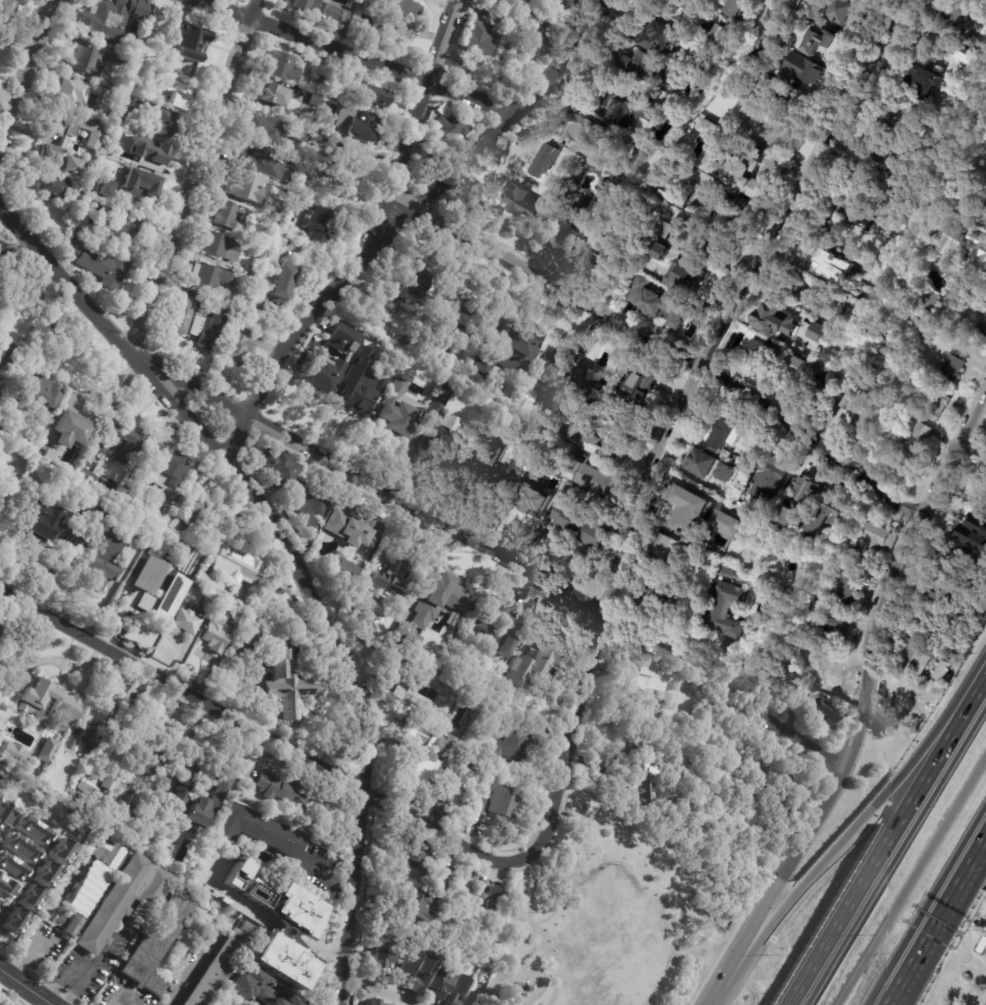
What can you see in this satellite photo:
building: (552, 1)
building: (971, 1)
building: (489, 2)
building: (573, 3)
building: (316, 6)
building: (741, 7)
building: (812, 7)
building: (3, 9)
building: (405, 9)
building: (482, 11)
building: (844, 11)
building: (953, 15)
building: (112, 16)
building: (544, 20)
building: (692, 23)
building: (397, 30)
building: (551, 32)
building: (661, 36)
building: (481, 39)
building: (790, 39)
building: (822, 40)
building: (973, 41)
building: (192, 43)
building: (526, 45)
building: (941, 49)
building: (761, 58)
building: (93, 59)
road: (354, 60)
building: (284, 67)
building: (136, 68)
building: (651, 68)
building: (804, 68)
road: (26, 70)
building: (926, 82)
building: (318, 85)
building: (335, 90)
building: (745, 92)
building: (79, 93)
building: (179, 94)
building: (274, 95)
building: (370, 95)
building: (788, 99)
building: (315, 100)
building: (620, 107)
building: (722, 109)
building: (901, 111)
building: (121, 119)
building: (326, 122)
building: (158, 123)
building: (364, 125)
building: (709, 126)
road: (414, 127)
building: (267, 129)
building: (117, 130)
building: (448, 130)
building: (303, 132)
building: (579, 133)
building: (778, 136)
building: (319, 139)
building: (130, 140)
building: (92, 142)
building: (877, 143)
building: (696, 145)
building: (644, 153)
building: (155, 154)
building: (256, 159)
building: (442, 160)
building: (539, 168)
building: (735, 170)
building: (908, 172)
building: (340, 175)
road: (193, 176)
building: (43, 183)
building: (140, 186)
building: (245, 187)
building: (860, 187)
building: (104, 189)
building: (609, 191)
building: (673, 194)
building: (978, 195)
building: (295, 200)
building: (522, 201)
building: (889, 205)
building: (272, 206)
building: (728, 211)
building: (842, 211)
building: (229, 218)
building: (275, 221)
building: (689, 222)
road: (407, 223)
building: (571, 223)
building: (956, 223)
building: (320, 225)
building: (127, 228)
building: (664, 231)
building: (985, 231)
building: (713, 243)
building: (221, 246)
building: (616, 247)
building: (661, 248)
building: (974, 256)
road: (28, 257)
building: (822, 260)
building: (100, 264)
building: (212, 276)
building: (686, 278)
building: (285, 282)
building: (800, 289)
building: (866, 290)
building: (400, 294)
building: (950, 294)
road: (735, 300)
building: (258, 302)
building: (657, 302)
building: (208, 306)
building: (185, 315)
building: (778, 319)
building: (829, 319)
building: (461, 320)
building: (814, 331)
building: (212, 333)
building: (358, 338)
building: (240, 347)
road: (677, 353)
building: (758, 353)
building: (7, 354)
building: (828, 355)
building: (504, 357)
building: (955, 366)
building: (549, 368)
building: (590, 378)
building: (321, 379)
building: (363, 385)
building: (824, 388)
building: (634, 390)
building: (36, 392)
building: (853, 396)
building: (527, 400)
building: (938, 405)
building: (607, 412)
building: (396, 414)
building: (82, 419)
building: (442, 427)
building: (69, 429)
building: (729, 430)
building: (1, 431)
building: (522, 440)
building: (127, 442)
building: (591, 443)
building: (919, 444)
building: (102, 449)
building: (48, 454)
building: (703, 464)
building: (481, 465)
building: (167, 467)
building: (277, 470)
road: (234, 473)
building: (728, 474)
building: (84, 475)
building: (589, 475)
building: (772, 475)
building: (513, 477)
road: (367, 482)
building: (567, 489)
building: (310, 499)
building: (535, 499)
building: (803, 502)
building: (132, 503)
building: (686, 504)
building: (983, 506)
building: (612, 512)
building: (187, 514)
building: (830, 516)
building: (742, 518)
building: (568, 519)
building: (311, 523)
building: (727, 524)
building: (49, 525)
building: (353, 527)
building: (218, 530)
building: (598, 535)
building: (977, 538)
building: (877, 542)
building: (671, 553)
building: (953, 555)
building: (162, 556)
building: (105, 563)
building: (238, 567)
road: (891, 570)
building: (346, 578)
building: (392, 580)
building: (147, 582)
building: (212, 587)
building: (849, 588)
building: (938, 588)
building: (170, 598)
building: (654, 599)
building: (211, 602)
building: (442, 602)
building: (725, 609)
building: (370, 612)
building: (981, 615)
building: (239, 620)
building: (930, 622)
building: (187, 623)
building: (457, 623)
building: (498, 627)
building: (0, 629)
building: (216, 637)
building: (828, 637)
building: (410, 645)
building: (248, 647)
building: (919, 660)
road: (64, 661)
building: (539, 664)
building: (945, 672)
building: (426, 676)
building: (780, 677)
road: (979, 677)
building: (833, 678)
building: (396, 681)
building: (642, 682)
building: (290, 687)
building: (411, 700)
building: (50, 703)
building: (911, 703)
building: (108, 709)
building: (827, 714)
road: (261, 731)
building: (88, 732)
road: (791, 736)
road: (571, 740)
road: (188, 741)
building: (512, 745)
building: (46, 750)
building: (734, 750)
building: (14, 754)
building: (152, 755)
building: (440, 755)
building: (642, 766)
road: (926, 769)
building: (17, 780)
building: (767, 782)
building: (99, 786)
building: (181, 791)
building: (286, 791)
building: (792, 791)
building: (446, 799)
building: (208, 803)
building: (500, 804)
building: (124, 811)
building: (471, 817)
building: (86, 829)
building: (257, 830)
road: (842, 840)
building: (107, 851)
road: (896, 855)
building: (164, 856)
building: (418, 856)
road: (566, 860)
road: (27, 868)
building: (252, 868)
building: (6, 872)
building: (238, 875)
road: (324, 877)
building: (443, 879)
railway: (911, 880)
road: (778, 883)
building: (487, 892)
building: (30, 893)
building: (84, 897)
road: (355, 897)
building: (126, 900)
building: (281, 903)
road: (925, 904)
building: (419, 905)
park: (616, 907)
road: (935, 919)
park: (612, 921)
building: (249, 928)
road: (832, 928)
road: (285, 930)
road: (536, 933)
building: (158, 942)
building: (379, 953)
road: (103, 955)
building: (278, 958)
road: (195, 962)
building: (406, 966)
building: (218, 969)
road: (519, 974)
building: (420, 975)
road: (72, 980)
building: (437, 984)
building: (249, 985)
road: (27, 986)
road: (374, 990)
building: (455, 990)
building: (469, 999)
building: (294, 1001)
road: (713, 1001)
building: (277, 1002)

